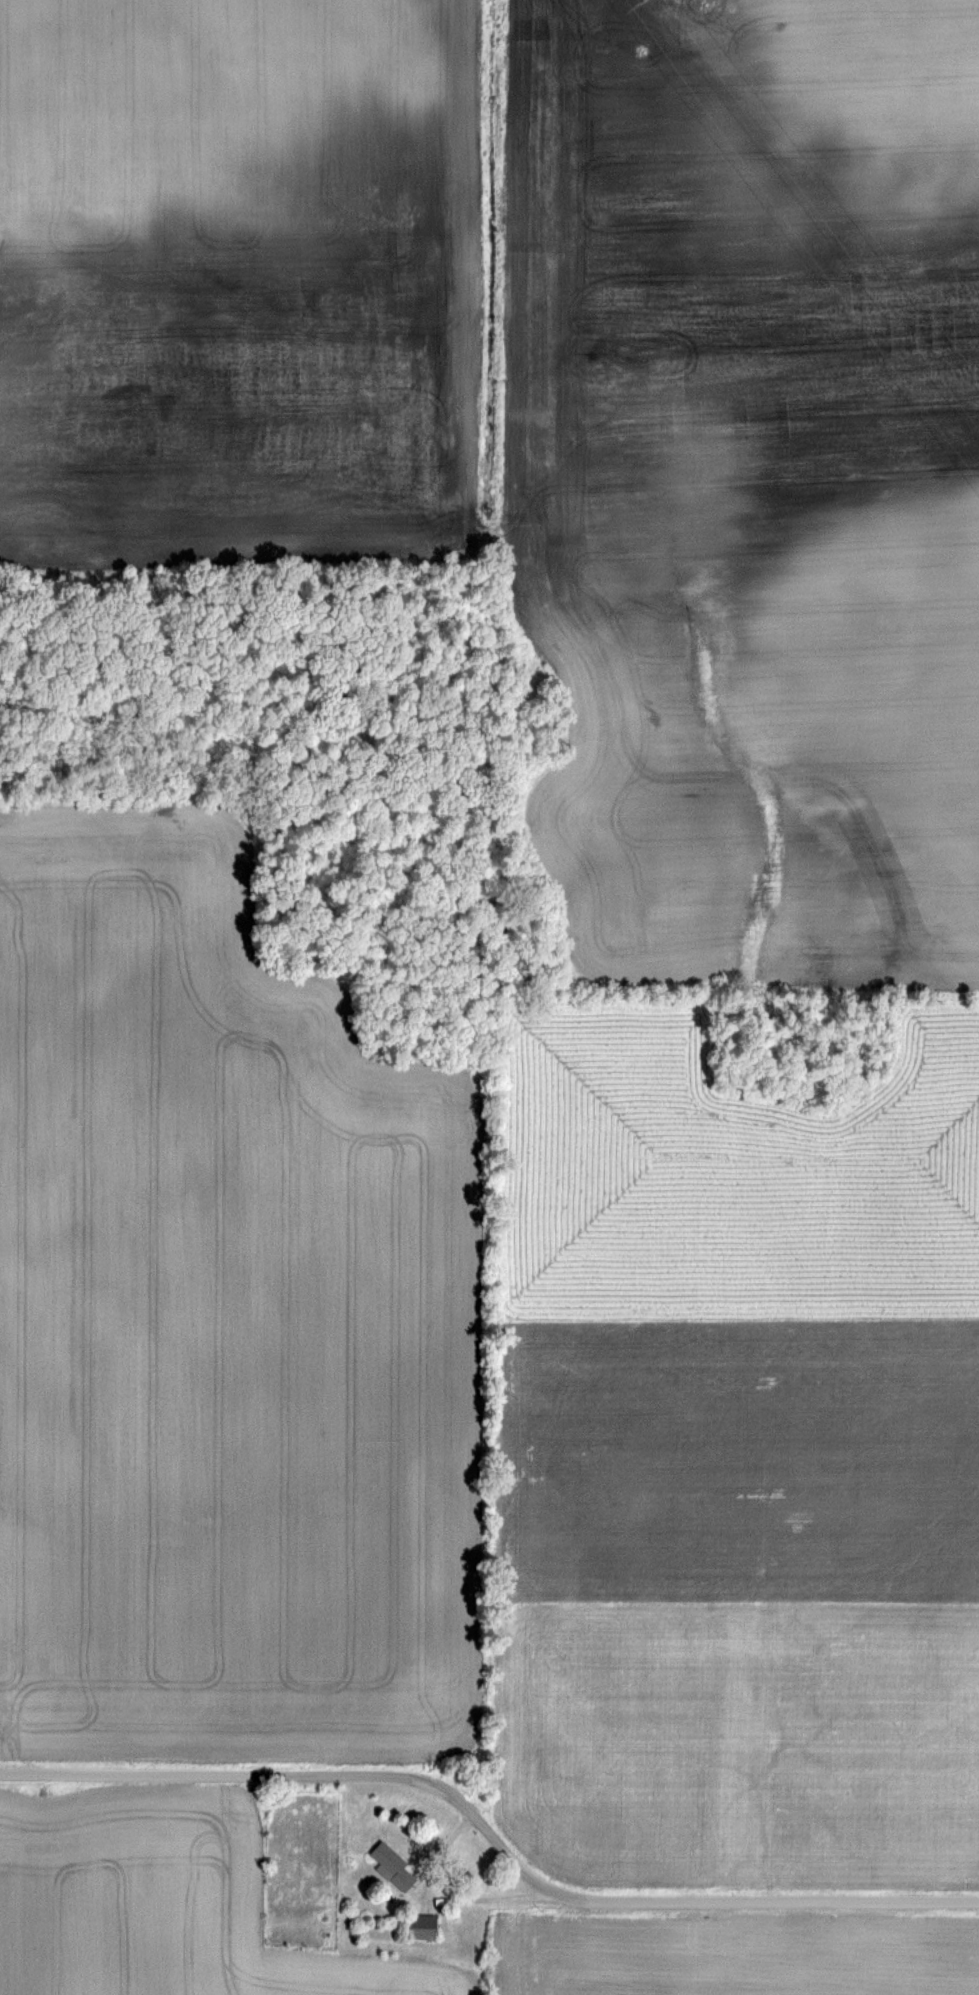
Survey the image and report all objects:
road: (491, 1836)
building: (395, 1866)
road: (445, 1899)
building: (420, 1927)

